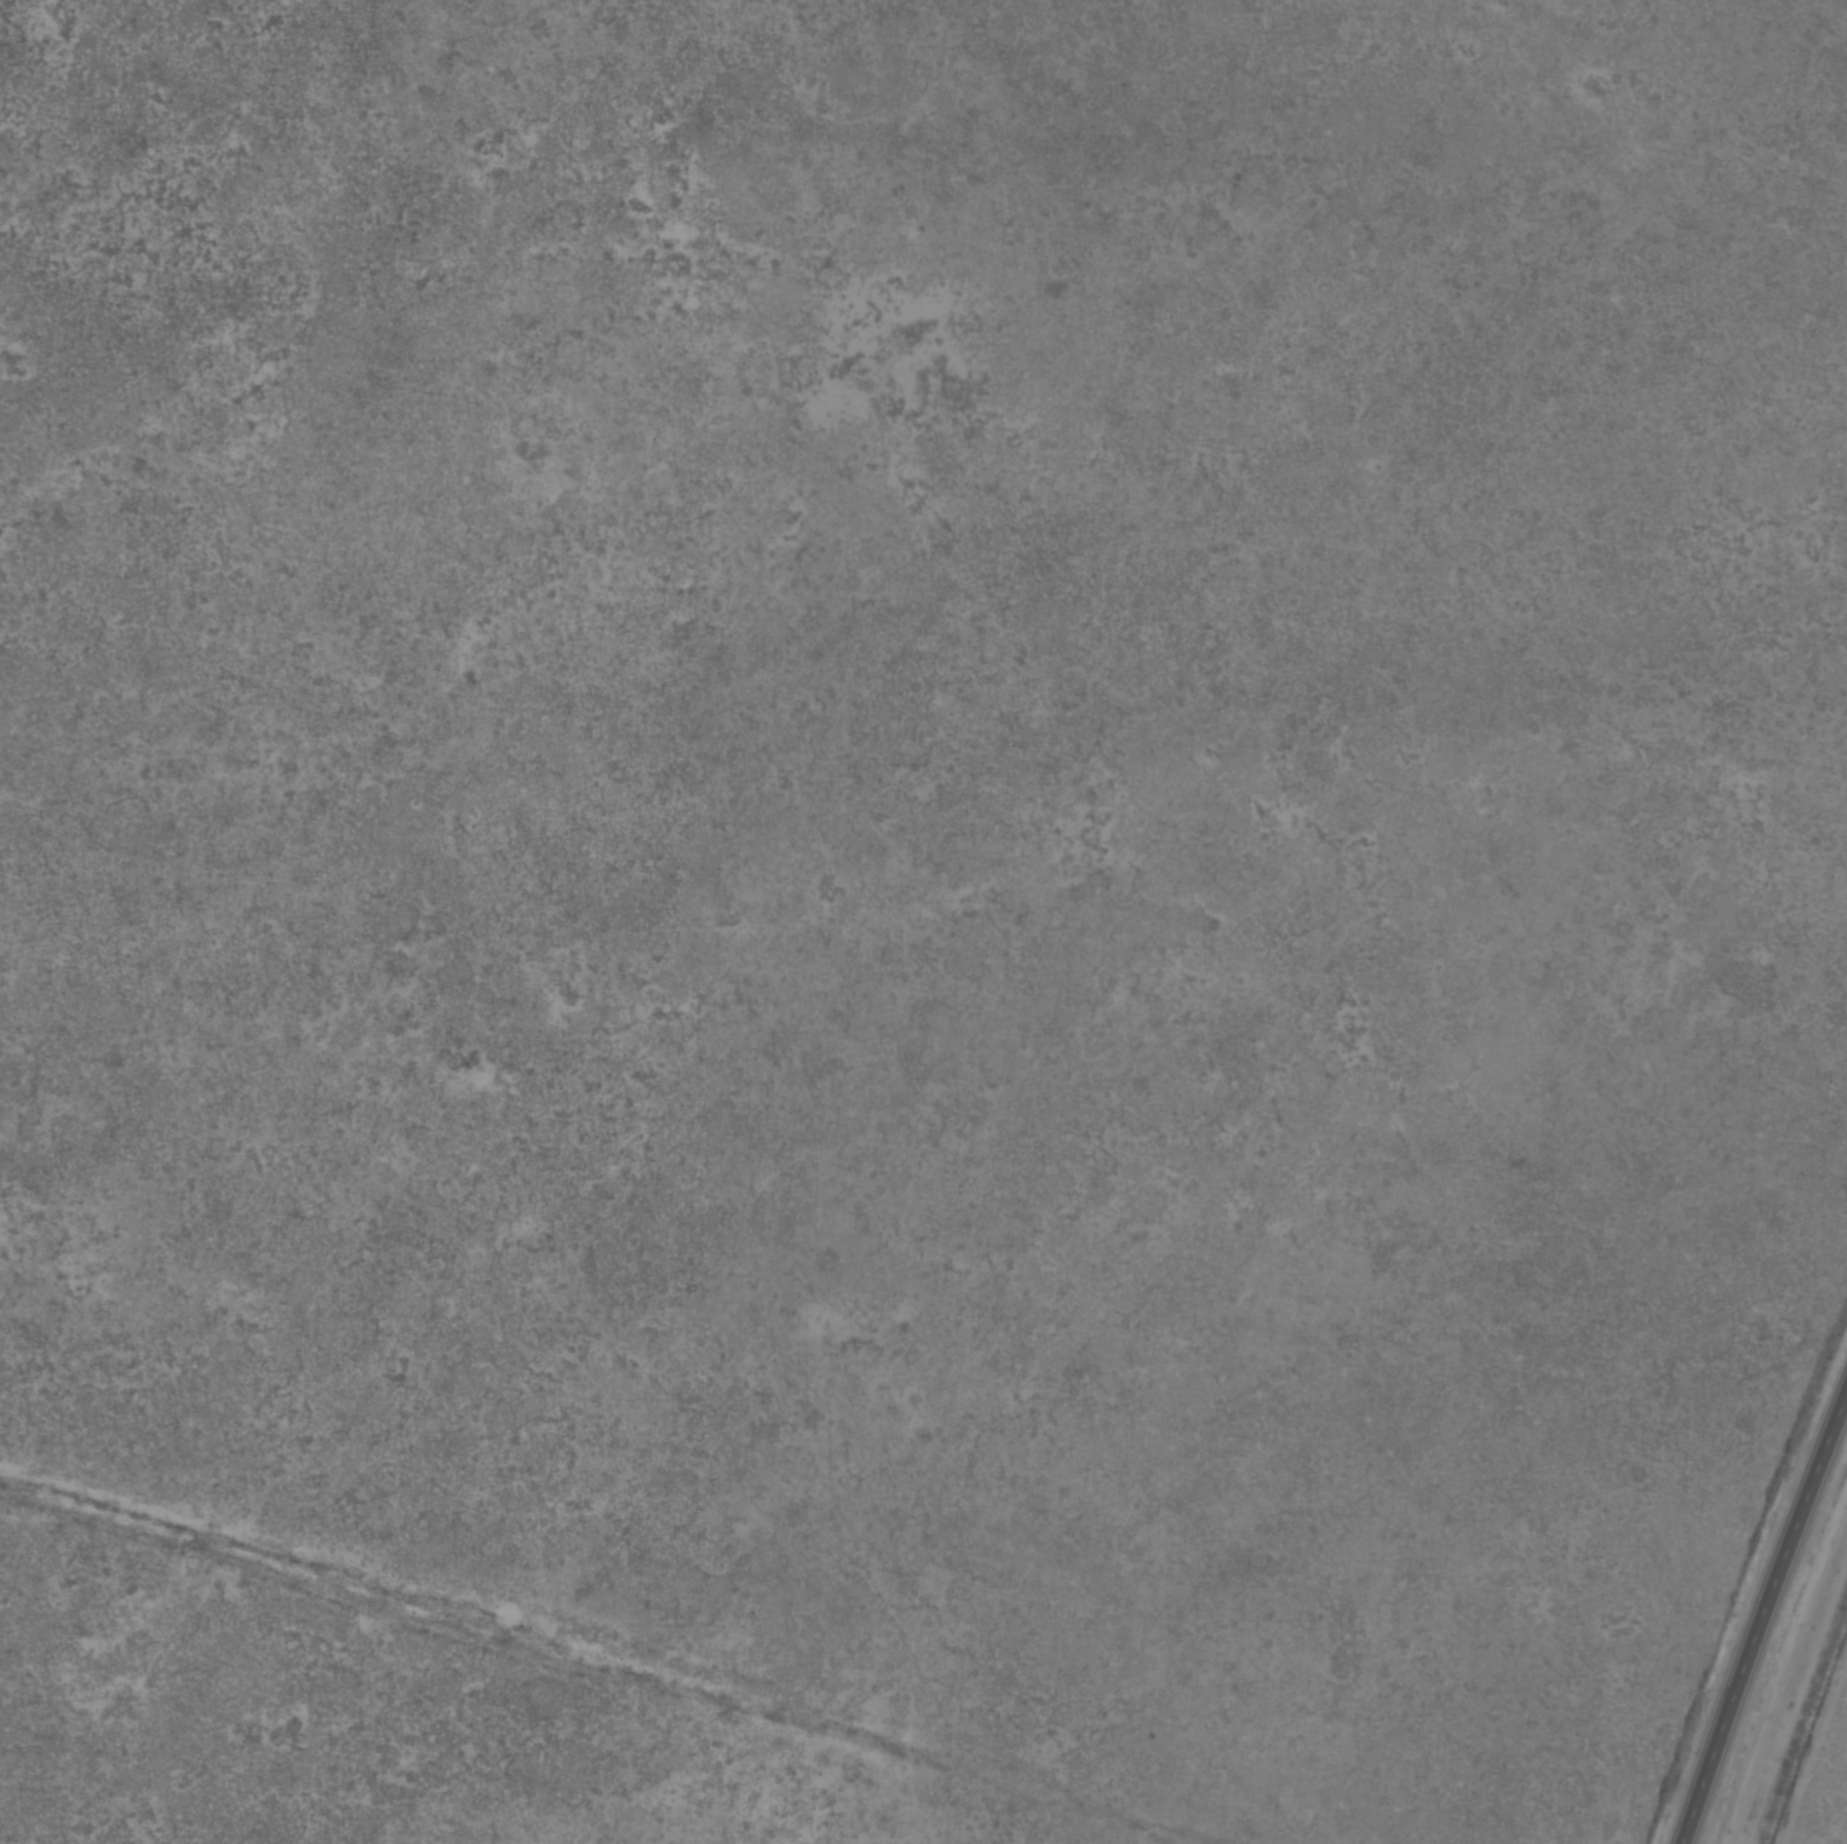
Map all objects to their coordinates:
road: (1756, 1602)

